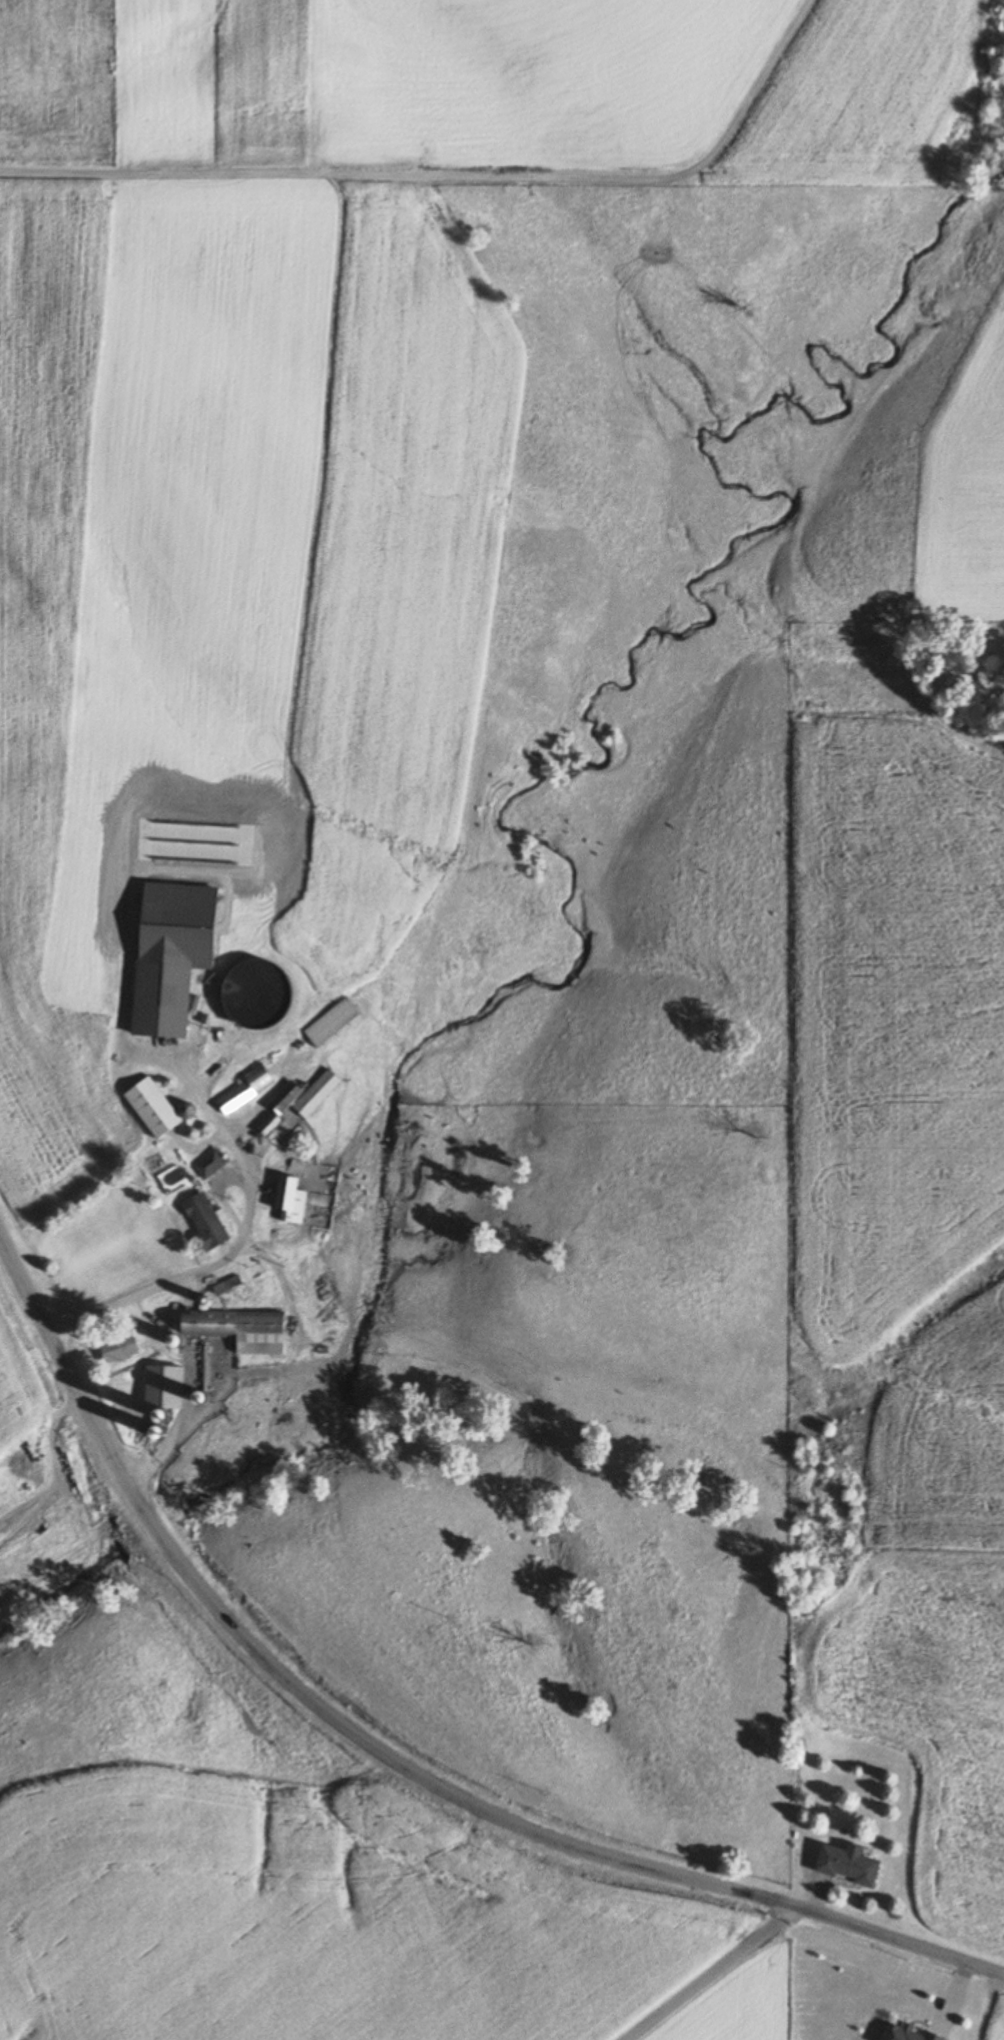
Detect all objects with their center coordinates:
road: (446, 174)
building: (340, 1021)
building: (165, 1026)
building: (324, 1093)
building: (241, 1098)
building: (160, 1108)
building: (281, 1128)
building: (214, 1165)
building: (299, 1198)
building: (212, 1221)
road: (244, 1241)
building: (243, 1330)
building: (124, 1349)
building: (171, 1388)
road: (386, 1759)
building: (854, 1863)
road: (717, 1978)
building: (911, 2033)

